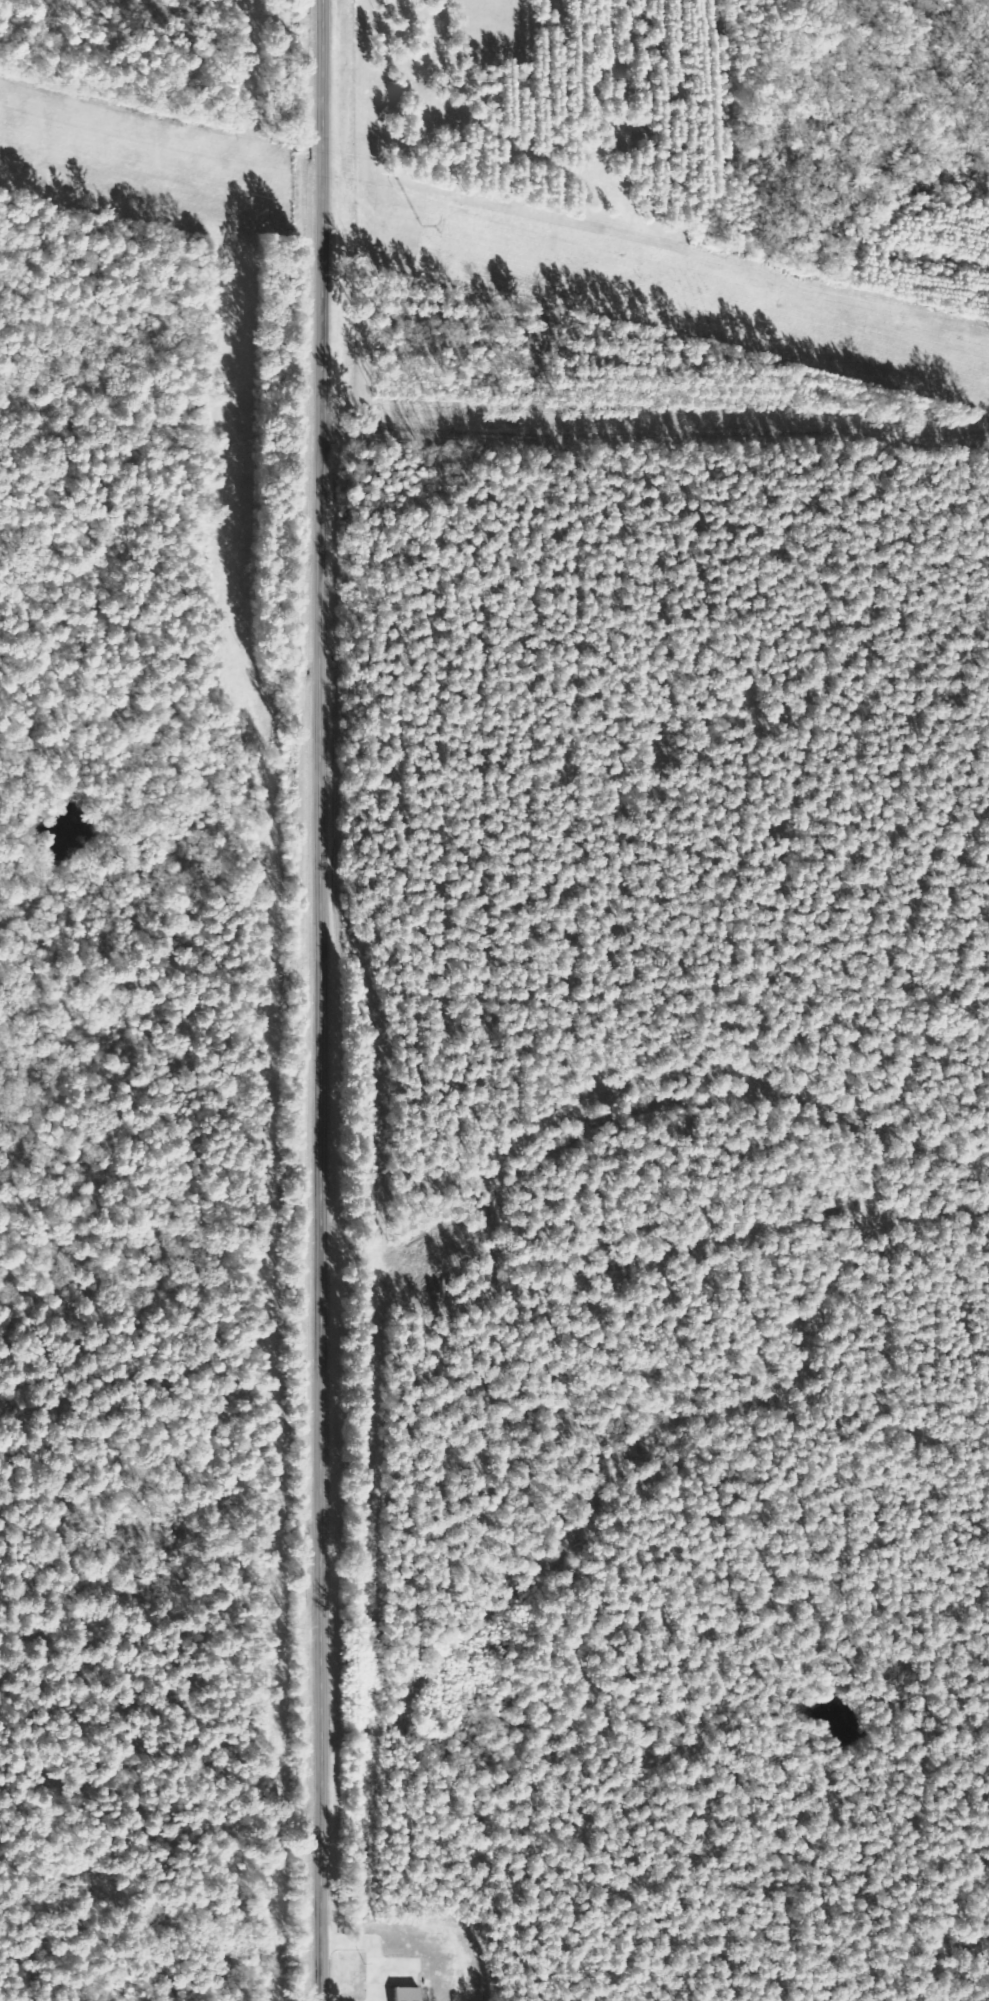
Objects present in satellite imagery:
power tower: (419, 224)
road: (656, 441)
road: (837, 632)
road: (690, 829)
road: (322, 1000)
building: (406, 1994)

